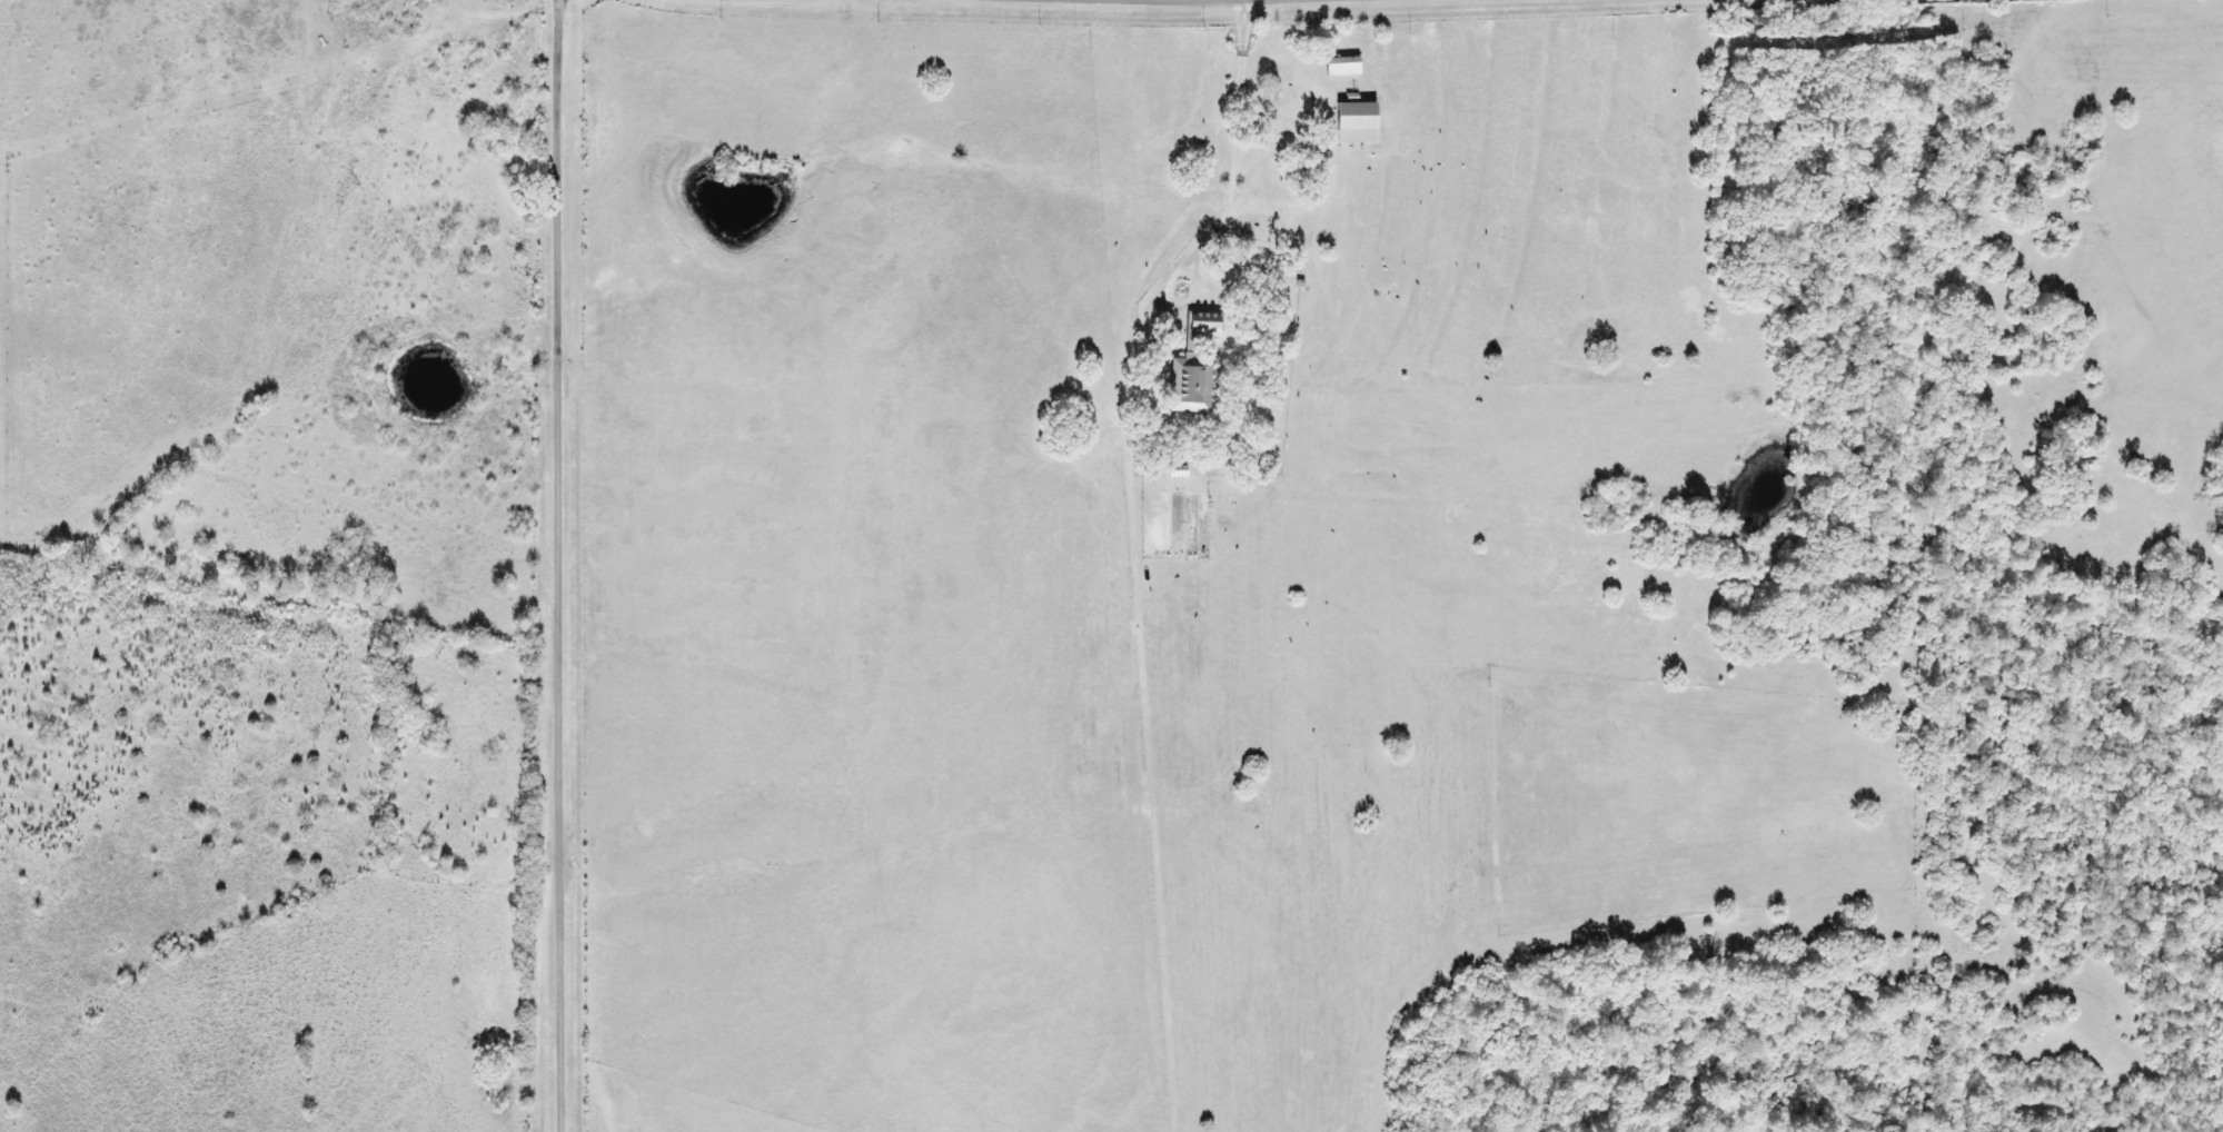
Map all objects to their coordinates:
building: (1343, 64)
building: (503, 106)
building: (1358, 121)
road: (580, 265)
building: (1193, 366)
road: (575, 830)

